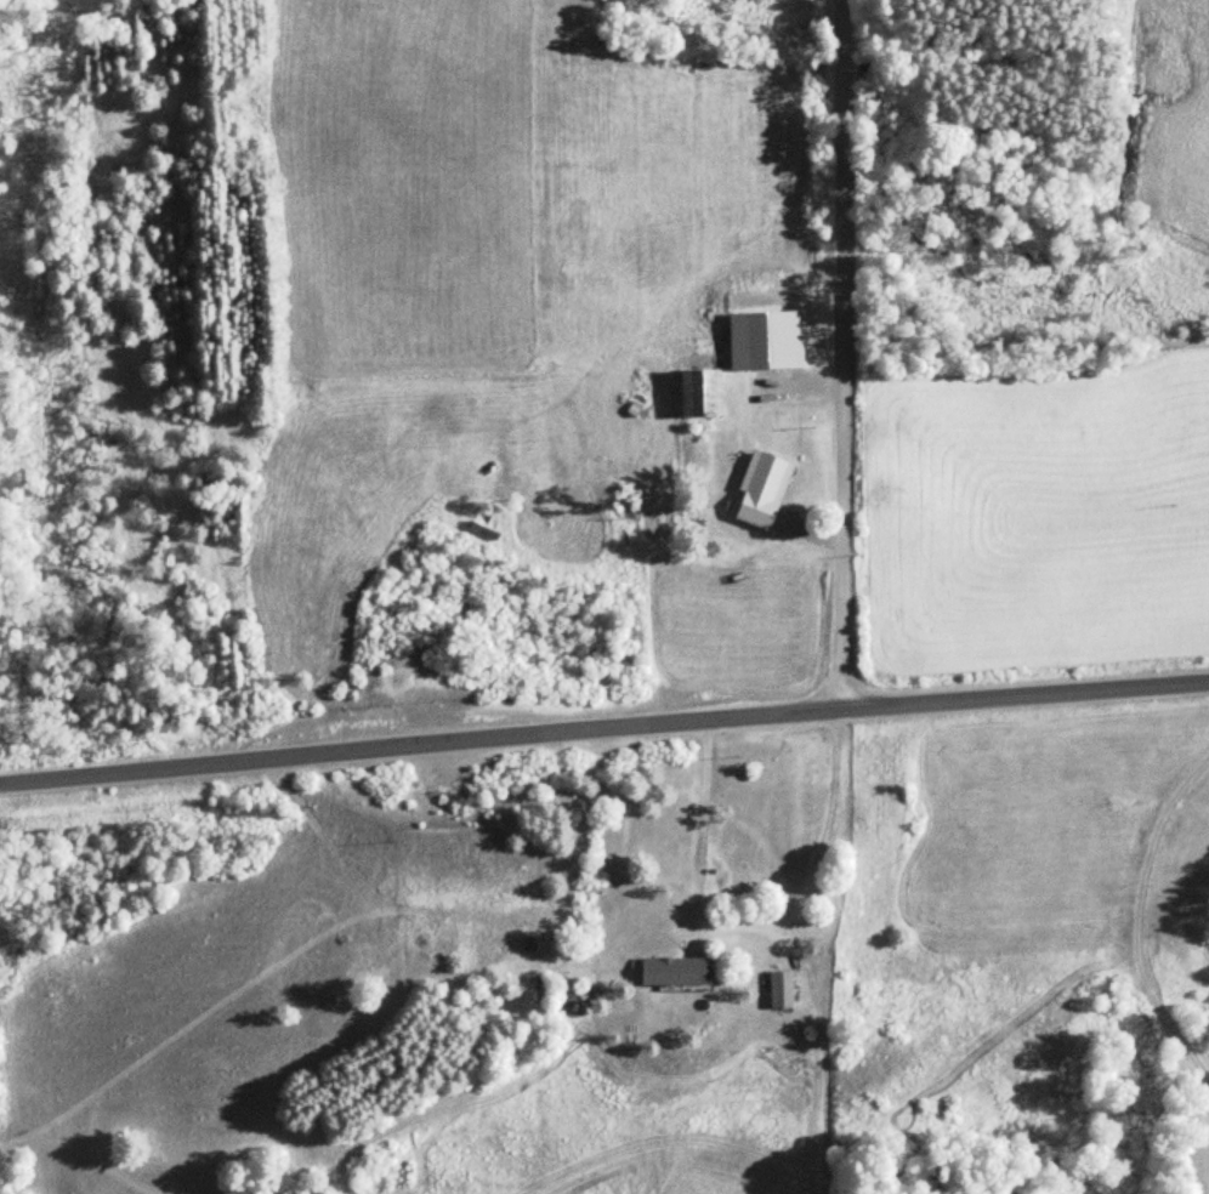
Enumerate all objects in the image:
building: (768, 339)
road: (842, 353)
building: (694, 392)
building: (765, 472)
road: (603, 727)
building: (653, 972)
building: (776, 990)

